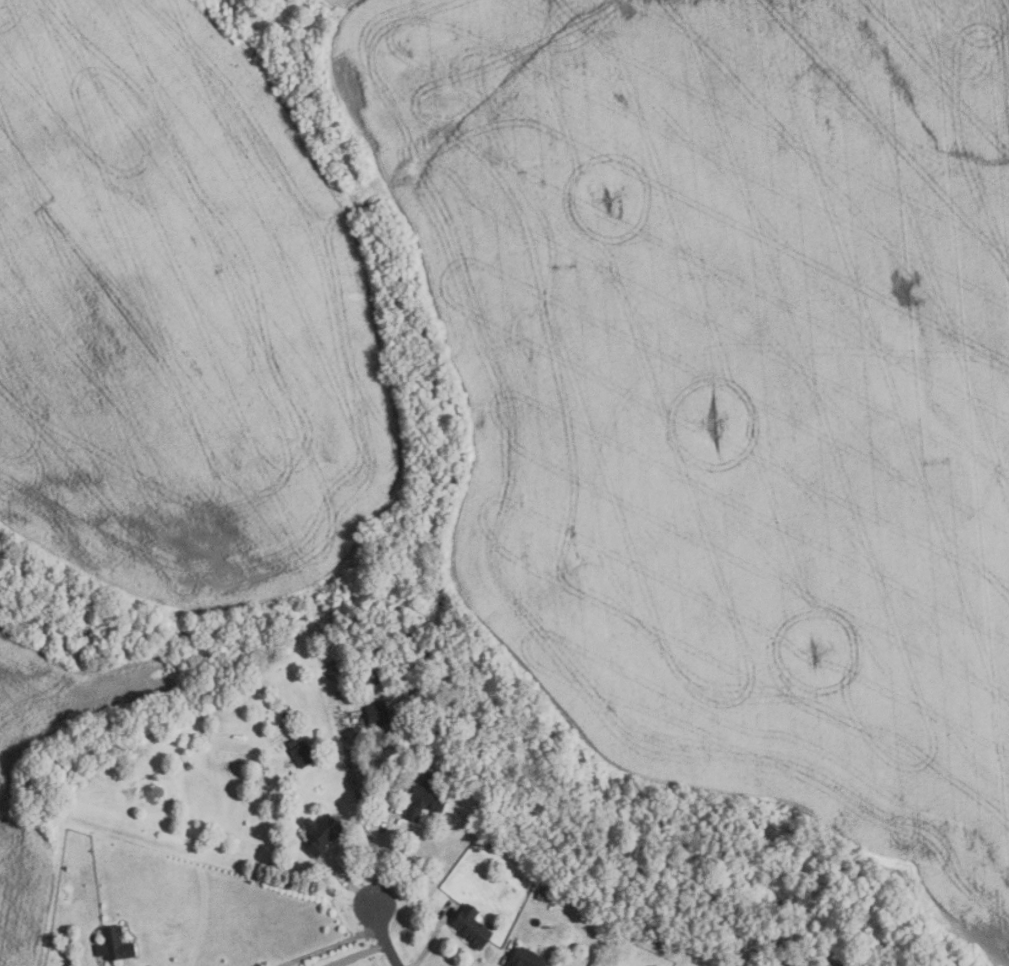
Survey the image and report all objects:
building: (373, 677)
building: (378, 714)
building: (301, 751)
building: (426, 797)
building: (322, 833)
building: (493, 848)
road: (380, 853)
road: (348, 880)
building: (541, 895)
building: (472, 926)
road: (383, 936)
road: (432, 938)
building: (115, 944)
road: (329, 945)
road: (360, 954)
building: (527, 957)

